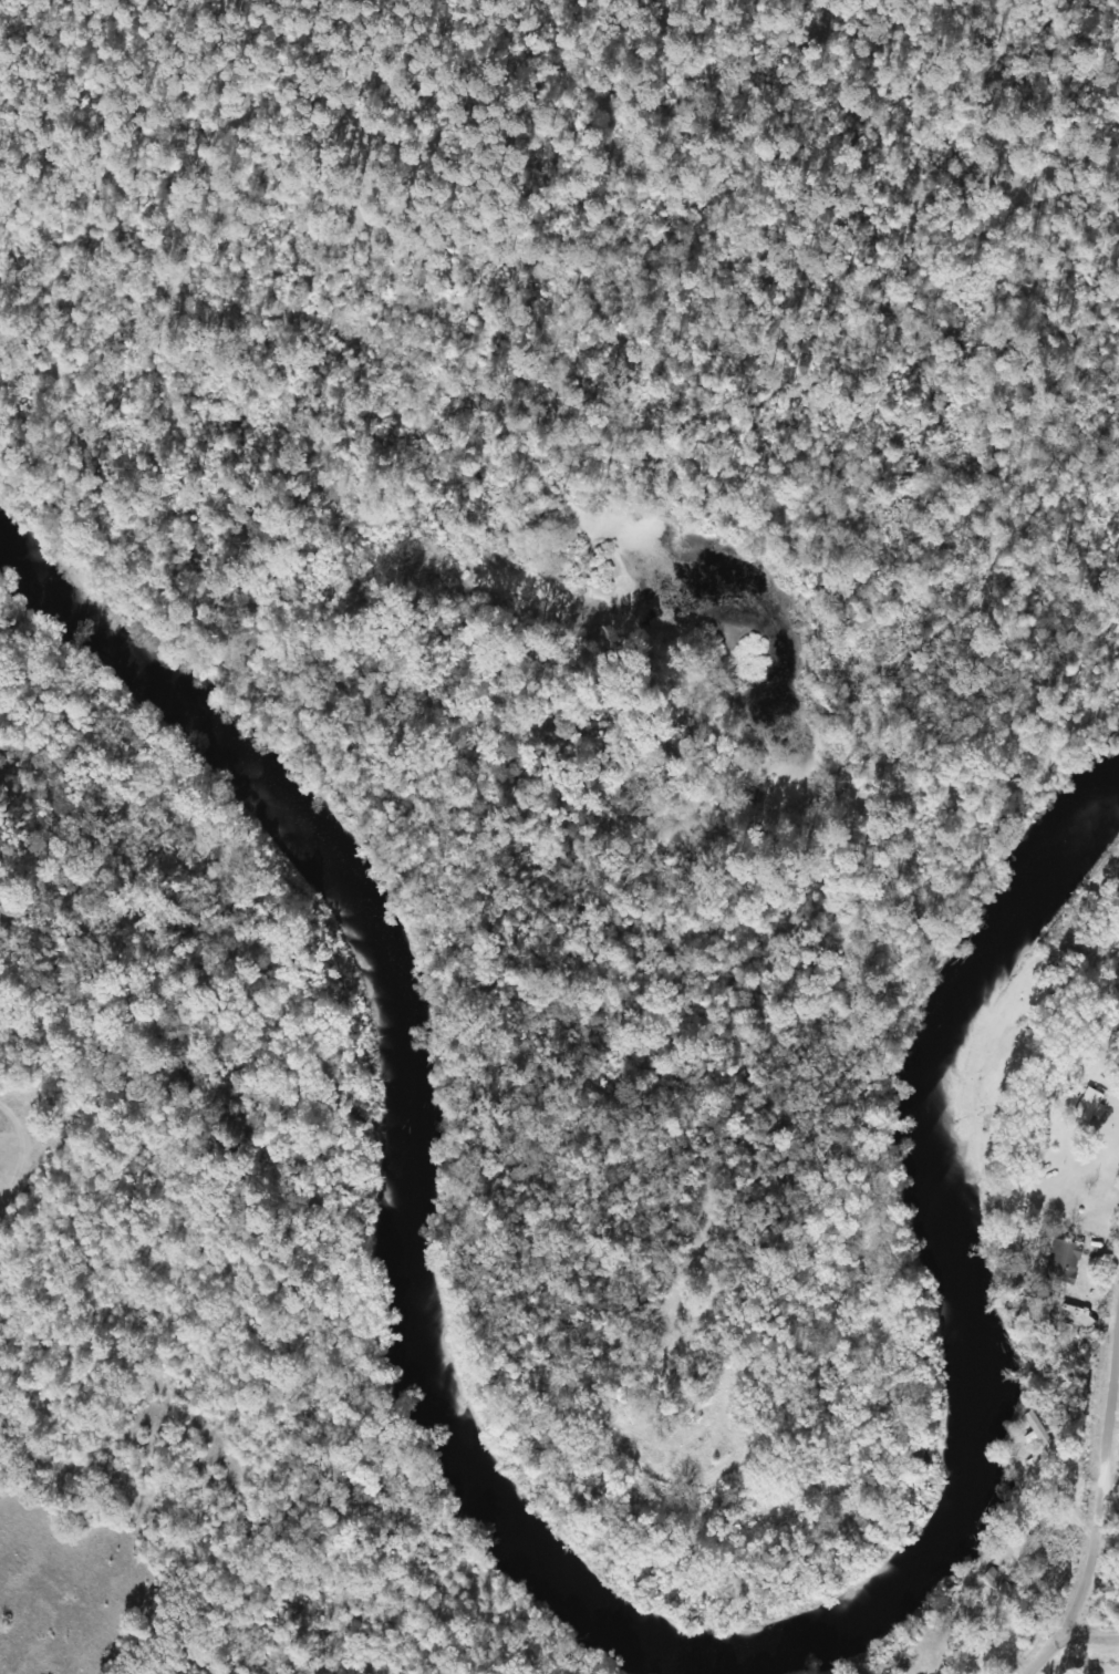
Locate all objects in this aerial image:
building: (1088, 1105)
building: (1061, 1261)
building: (1038, 1432)
building: (1007, 1552)
road: (1094, 1569)
road: (1098, 1641)

